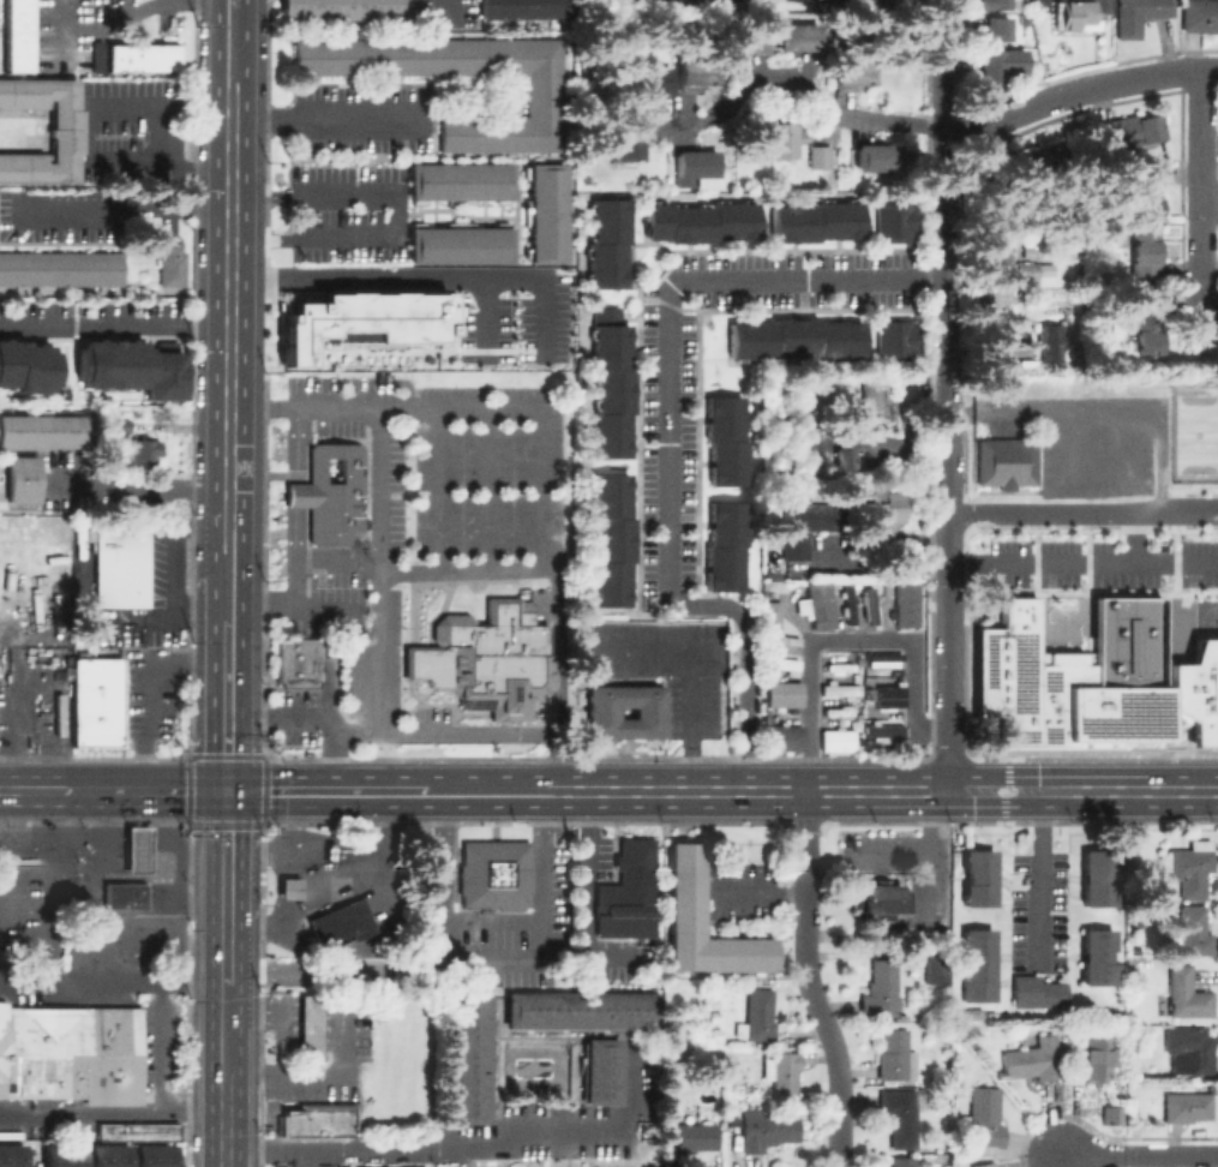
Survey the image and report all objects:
building: (707, 0)
building: (730, 0)
road: (445, 1)
road: (230, 4)
building: (994, 4)
road: (126, 5)
building: (347, 8)
building: (524, 8)
building: (85, 10)
building: (1079, 13)
building: (1138, 14)
building: (1200, 16)
building: (1024, 19)
building: (995, 28)
building: (47, 34)
building: (17, 35)
building: (798, 36)
building: (746, 38)
road: (230, 44)
building: (88, 52)
building: (140, 56)
building: (1001, 62)
building: (853, 76)
building: (695, 77)
building: (652, 83)
road: (798, 88)
road: (1076, 91)
building: (544, 94)
road: (330, 116)
building: (62, 127)
road: (101, 131)
building: (1128, 131)
building: (629, 137)
building: (766, 143)
building: (820, 156)
building: (875, 156)
building: (1037, 160)
building: (694, 167)
road: (1202, 176)
building: (461, 180)
building: (1141, 188)
road: (120, 209)
building: (547, 213)
road: (400, 214)
building: (896, 226)
building: (703, 227)
building: (818, 228)
building: (461, 245)
building: (611, 247)
building: (1142, 247)
building: (1001, 249)
building: (61, 268)
building: (164, 270)
building: (1027, 273)
road: (420, 280)
road: (229, 315)
building: (1150, 316)
building: (361, 318)
road: (481, 321)
road: (114, 327)
building: (796, 337)
building: (893, 340)
building: (1049, 341)
building: (25, 366)
building: (127, 367)
building: (610, 384)
road: (943, 394)
building: (875, 407)
building: (120, 423)
building: (41, 431)
park: (1193, 433)
road: (667, 438)
building: (724, 441)
road: (298, 443)
building: (145, 449)
building: (841, 457)
building: (1004, 461)
building: (23, 479)
road: (140, 487)
road: (377, 490)
road: (434, 490)
road: (487, 490)
road: (298, 495)
building: (331, 496)
road: (1192, 509)
road: (1055, 510)
building: (882, 519)
building: (804, 526)
building: (610, 538)
building: (724, 545)
road: (536, 550)
road: (881, 561)
road: (1040, 561)
road: (1152, 561)
building: (121, 565)
road: (169, 568)
road: (227, 581)
road: (296, 585)
building: (816, 605)
building: (907, 605)
building: (868, 609)
building: (773, 615)
road: (841, 638)
building: (1127, 640)
road: (652, 646)
building: (1208, 646)
building: (482, 659)
building: (295, 660)
building: (884, 660)
building: (782, 665)
building: (883, 681)
building: (839, 688)
road: (146, 692)
building: (624, 695)
building: (782, 695)
building: (886, 695)
building: (97, 701)
road: (226, 701)
building: (839, 712)
road: (281, 714)
road: (686, 719)
road: (493, 731)
building: (883, 734)
building: (782, 738)
building: (836, 740)
road: (23, 790)
road: (59, 790)
road: (1128, 790)
road: (148, 791)
traffic signals: (226, 791)
road: (324, 791)
road: (731, 791)
building: (138, 850)
road: (224, 855)
building: (1188, 867)
building: (497, 875)
road: (1037, 875)
building: (1093, 875)
building: (974, 876)
road: (330, 882)
building: (290, 888)
road: (757, 888)
road: (50, 891)
building: (125, 891)
road: (584, 891)
building: (688, 891)
building: (628, 893)
building: (880, 899)
road: (493, 920)
building: (343, 922)
building: (1194, 932)
road: (137, 938)
road: (224, 951)
building: (1093, 956)
building: (974, 964)
building: (930, 966)
road: (299, 969)
road: (806, 981)
road: (78, 983)
road: (190, 983)
building: (881, 989)
building: (1034, 992)
building: (1186, 994)
building: (575, 1011)
building: (760, 1016)
road: (280, 1017)
building: (713, 1018)
building: (310, 1027)
road: (224, 1029)
building: (716, 1035)
road: (156, 1045)
building: (68, 1051)
building: (1189, 1051)
building: (893, 1054)
building: (1096, 1058)
building: (468, 1060)
building: (1033, 1060)
building: (598, 1071)
building: (782, 1073)
road: (331, 1075)
road: (112, 1107)
building: (1187, 1107)
building: (1111, 1114)
building: (900, 1117)
building: (984, 1118)
road: (223, 1121)
building: (319, 1123)
building: (133, 1129)
building: (766, 1130)
building: (691, 1138)
road: (462, 1145)
building: (10, 1155)
building: (49, 1155)
building: (70, 1155)
building: (95, 1155)
building: (115, 1155)
building: (140, 1155)
building: (161, 1155)
road: (1139, 1156)
building: (902, 1162)
building: (986, 1163)

